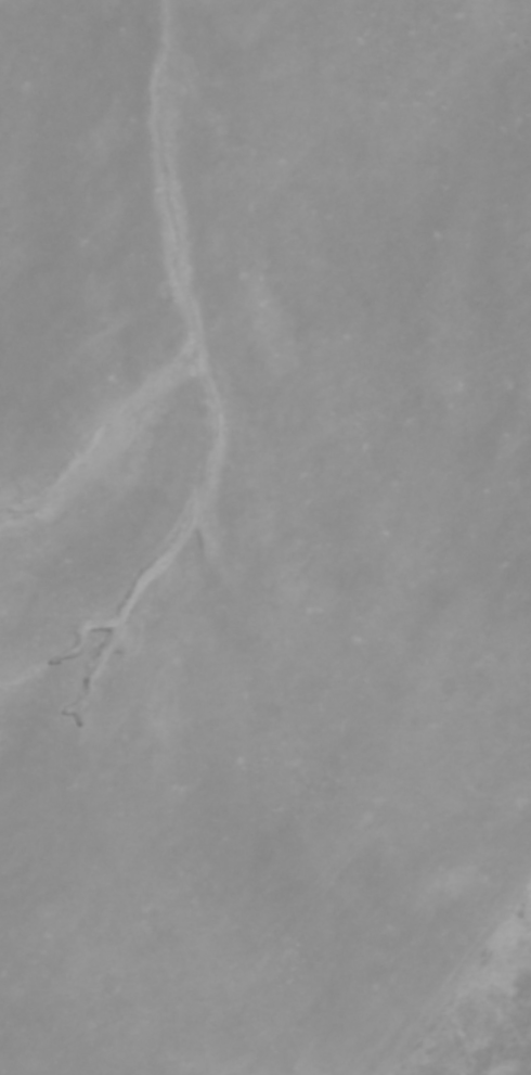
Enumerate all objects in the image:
crop: (260, 526)

